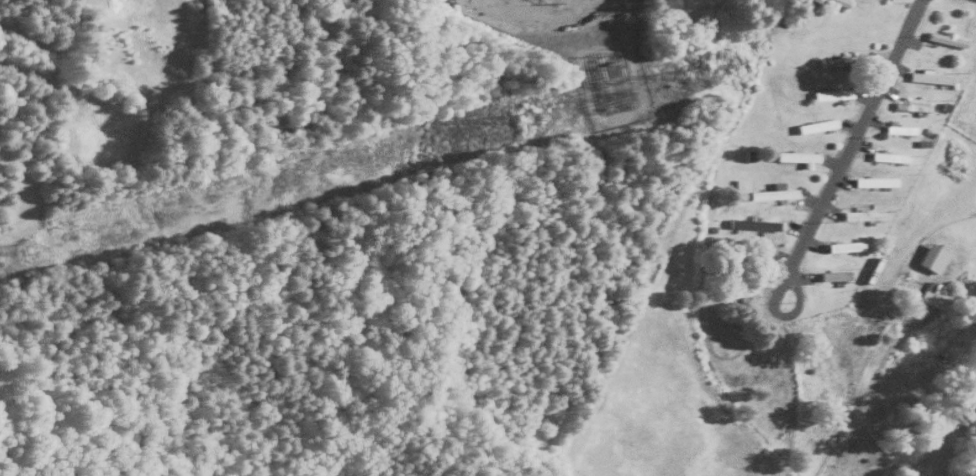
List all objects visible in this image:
building: (835, 3)
building: (793, 13)
building: (943, 38)
power substation: (581, 47)
building: (833, 61)
power tower: (694, 72)
building: (927, 77)
power tower: (616, 92)
building: (830, 94)
building: (910, 106)
power tower: (527, 116)
building: (814, 125)
building: (899, 128)
road: (842, 155)
building: (795, 156)
building: (887, 157)
building: (873, 181)
building: (762, 190)
building: (861, 214)
building: (753, 223)
building: (843, 245)
power tower: (26, 249)
building: (929, 256)
building: (833, 274)
building: (931, 293)

